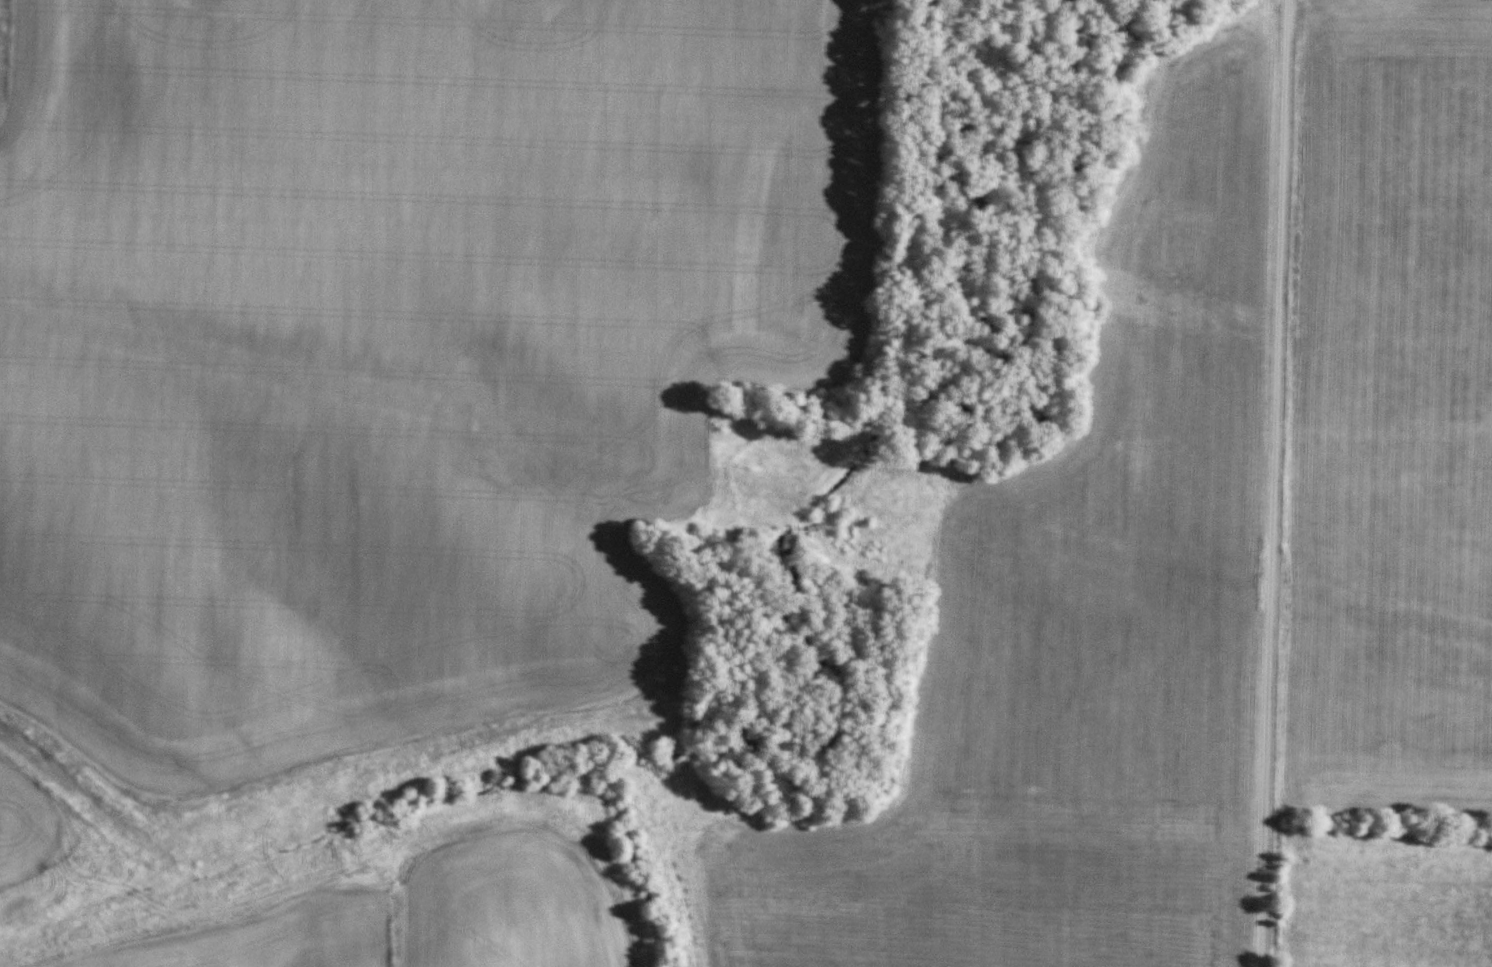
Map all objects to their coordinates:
road: (1273, 483)

